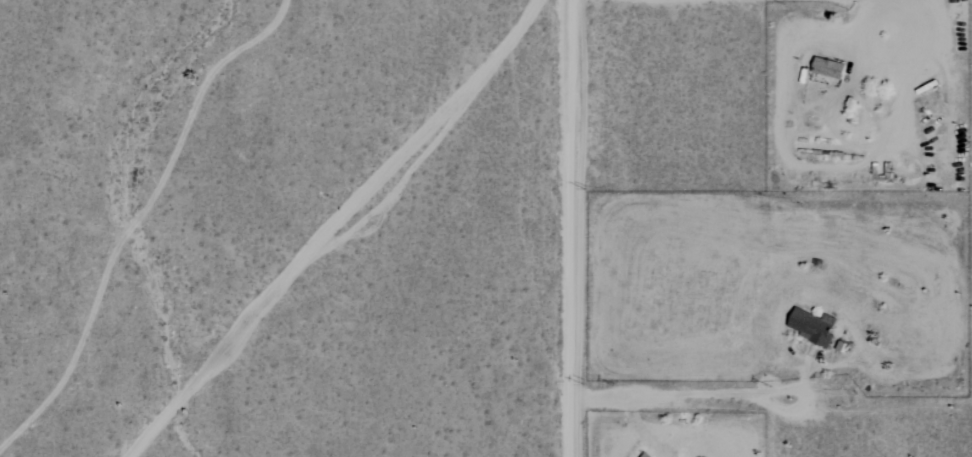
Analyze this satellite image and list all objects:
road: (559, 228)
building: (816, 326)
road: (662, 394)
road: (808, 400)
building: (649, 455)

